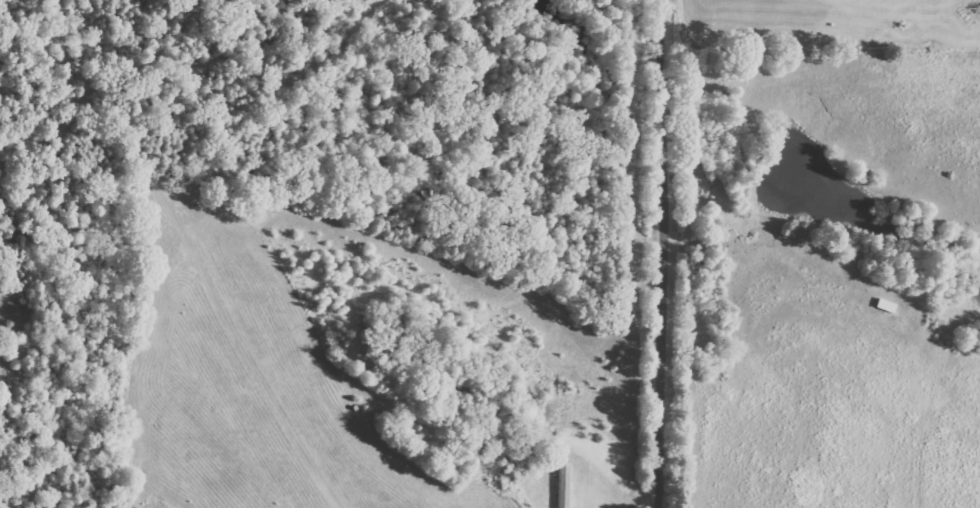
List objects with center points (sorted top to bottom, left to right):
road: (665, 254)

